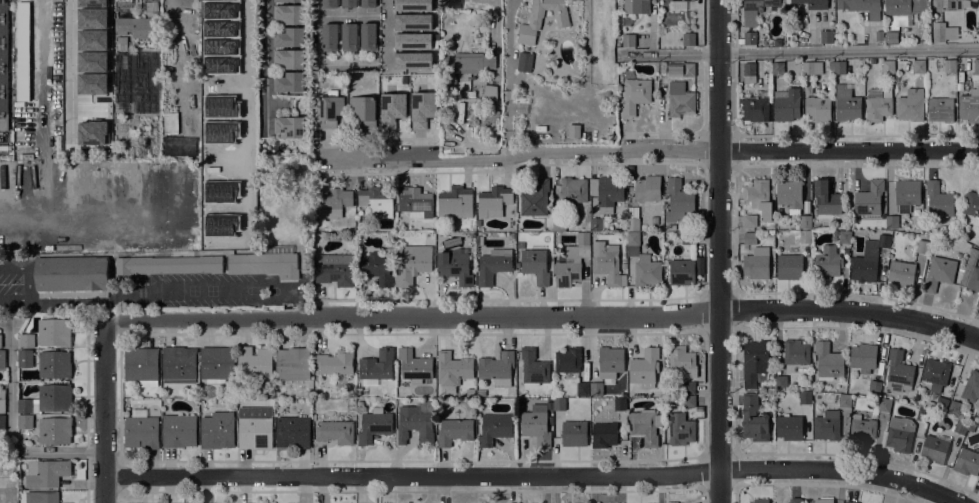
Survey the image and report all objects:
building: (681, 0)
building: (288, 1)
building: (329, 3)
building: (349, 3)
building: (368, 3)
building: (812, 3)
building: (968, 3)
building: (151, 5)
building: (412, 5)
building: (945, 5)
building: (636, 6)
building: (862, 7)
building: (790, 8)
building: (904, 9)
building: (756, 10)
building: (289, 14)
building: (412, 21)
road: (496, 21)
building: (561, 21)
building: (86, 27)
road: (733, 27)
building: (134, 30)
building: (179, 31)
building: (228, 31)
building: (938, 32)
road: (386, 34)
building: (878, 35)
building: (826, 36)
building: (289, 37)
building: (329, 37)
building: (349, 37)
building: (368, 37)
building: (891, 37)
building: (748, 38)
building: (688, 39)
building: (412, 40)
building: (628, 40)
building: (23, 51)
road: (798, 52)
building: (78, 54)
road: (68, 56)
building: (289, 58)
building: (410, 58)
building: (191, 59)
building: (524, 62)
building: (466, 64)
building: (418, 65)
building: (830, 65)
building: (976, 65)
building: (3, 66)
building: (918, 66)
building: (949, 66)
building: (839, 67)
building: (888, 67)
road: (266, 68)
building: (777, 68)
building: (811, 68)
building: (663, 69)
building: (680, 69)
building: (747, 72)
road: (508, 79)
building: (289, 82)
building: (807, 89)
building: (489, 94)
building: (635, 95)
building: (680, 100)
building: (846, 103)
building: (787, 105)
building: (911, 105)
building: (877, 106)
building: (969, 106)
building: (818, 108)
building: (391, 109)
building: (422, 109)
building: (755, 109)
building: (940, 109)
building: (329, 110)
building: (362, 112)
building: (487, 125)
building: (289, 127)
building: (573, 131)
road: (848, 149)
road: (515, 156)
building: (648, 188)
building: (572, 190)
building: (606, 192)
building: (906, 194)
building: (789, 195)
building: (758, 197)
building: (825, 198)
building: (534, 199)
building: (869, 199)
building: (678, 200)
building: (938, 200)
building: (376, 201)
building: (493, 201)
building: (416, 202)
building: (333, 203)
building: (454, 203)
building: (972, 206)
road: (75, 217)
building: (632, 219)
building: (654, 220)
building: (749, 221)
building: (240, 222)
building: (805, 222)
building: (891, 222)
building: (477, 223)
building: (558, 224)
building: (598, 224)
building: (671, 227)
building: (770, 234)
building: (390, 237)
building: (805, 237)
building: (844, 237)
building: (687, 238)
building: (749, 238)
building: (632, 239)
building: (520, 245)
building: (921, 247)
road: (717, 251)
building: (868, 259)
building: (265, 262)
building: (571, 262)
building: (305, 263)
building: (607, 263)
building: (757, 263)
building: (827, 263)
building: (413, 264)
building: (454, 265)
building: (493, 265)
building: (535, 265)
building: (699, 265)
building: (163, 266)
building: (377, 266)
building: (789, 267)
building: (334, 270)
building: (646, 271)
building: (682, 272)
building: (970, 272)
building: (901, 273)
building: (938, 273)
building: (71, 274)
road: (28, 284)
building: (977, 302)
road: (545, 316)
building: (53, 332)
building: (0, 341)
building: (26, 341)
building: (795, 352)
building: (863, 357)
building: (24, 358)
building: (2, 360)
building: (567, 360)
building: (682, 360)
building: (609, 361)
building: (335, 362)
building: (828, 362)
building: (254, 363)
building: (755, 363)
building: (54, 364)
building: (216, 364)
building: (292, 364)
building: (178, 365)
building: (376, 365)
building: (141, 366)
building: (414, 366)
building: (497, 368)
building: (533, 368)
building: (644, 368)
building: (452, 370)
building: (898, 372)
building: (935, 373)
building: (780, 382)
building: (687, 387)
building: (874, 387)
building: (595, 388)
building: (582, 389)
building: (971, 389)
building: (805, 398)
building: (46, 399)
building: (2, 401)
building: (844, 401)
building: (690, 403)
building: (941, 403)
building: (359, 404)
building: (558, 404)
building: (619, 404)
building: (884, 405)
building: (954, 407)
road: (103, 411)
building: (922, 414)
building: (753, 418)
building: (2, 421)
building: (25, 421)
building: (415, 422)
building: (374, 425)
building: (536, 425)
building: (826, 425)
building: (645, 426)
building: (789, 427)
building: (960, 427)
building: (494, 428)
building: (970, 428)
building: (680, 429)
building: (54, 430)
building: (178, 430)
building: (217, 430)
building: (861, 430)
road: (10, 431)
building: (454, 431)
building: (141, 432)
building: (255, 432)
building: (292, 432)
building: (335, 432)
building: (573, 433)
building: (603, 434)
building: (899, 434)
building: (934, 448)
building: (967, 462)
road: (842, 469)
building: (45, 473)
road: (411, 475)
building: (12, 492)
building: (41, 497)
building: (13, 500)
building: (794, 500)
building: (759, 501)
building: (822, 501)
building: (850, 501)

